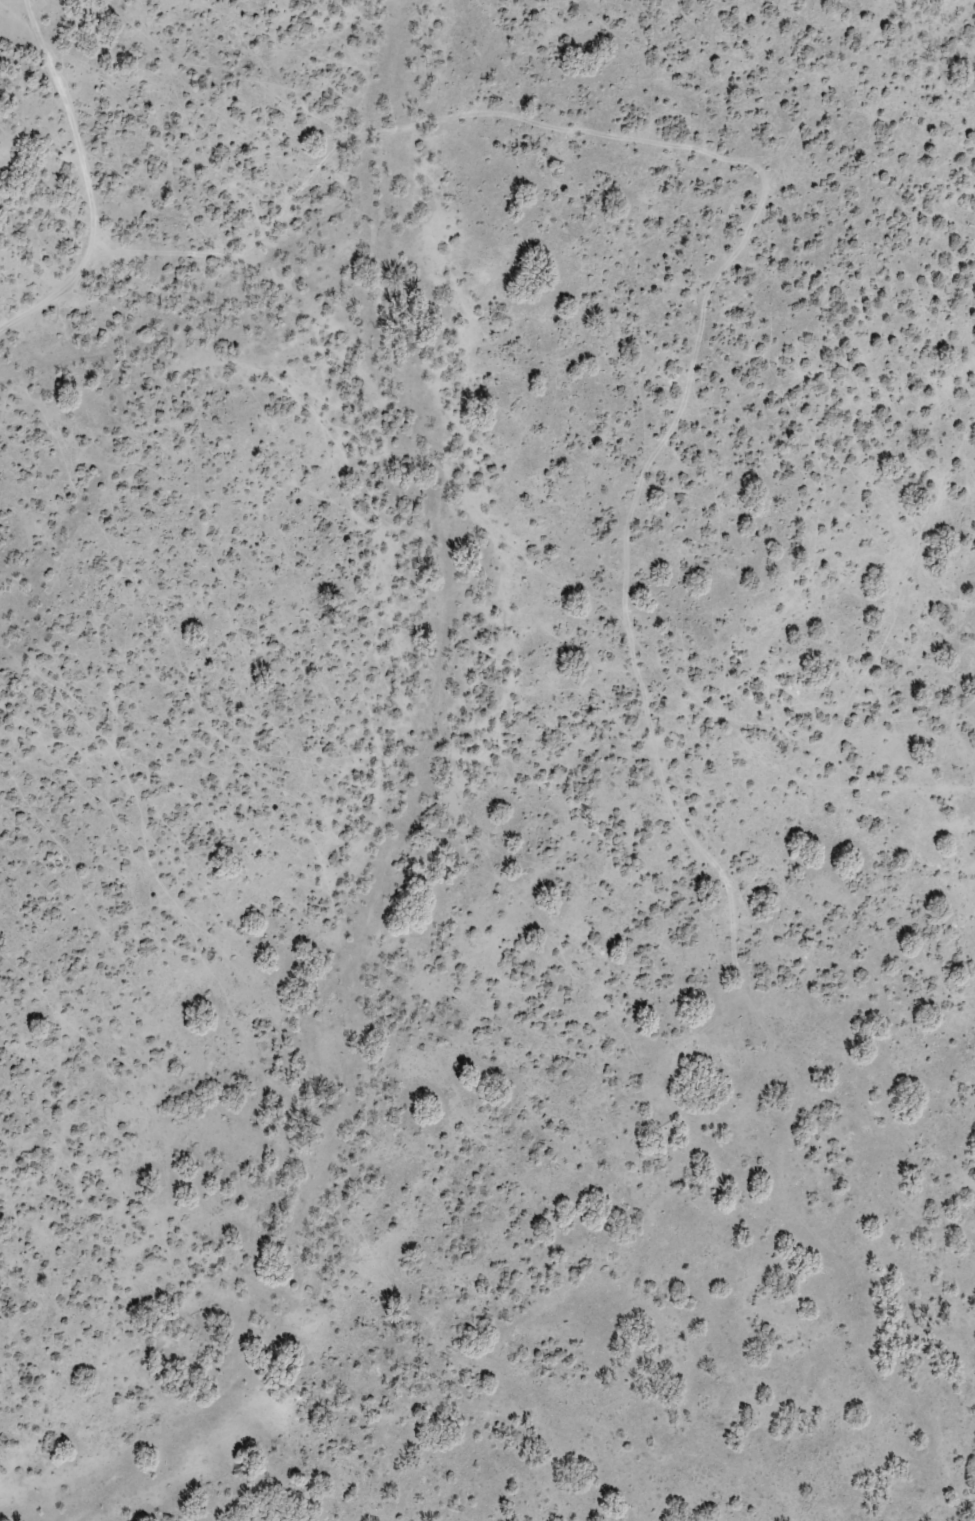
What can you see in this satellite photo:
road: (472, 112)
road: (29, 146)

